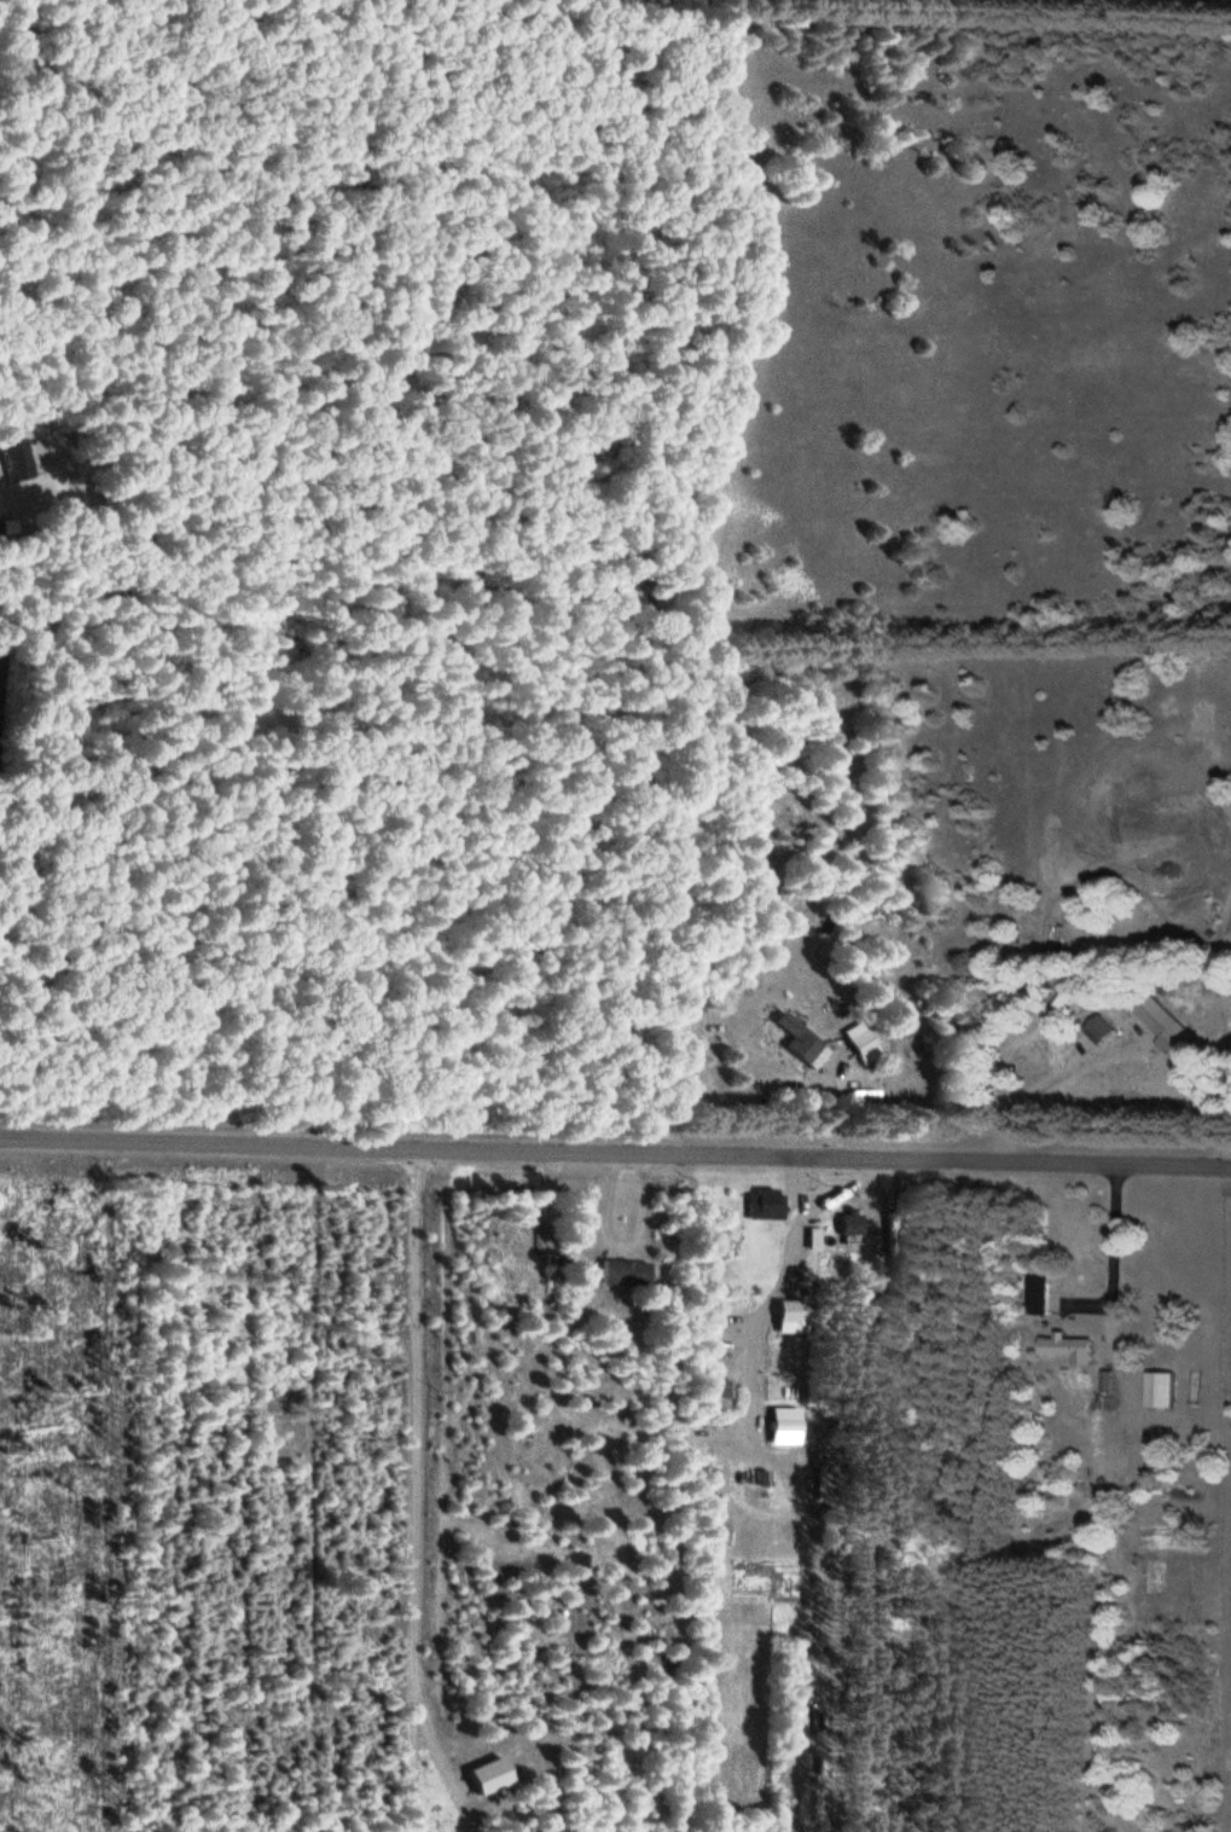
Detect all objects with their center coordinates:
building: (795, 1039)
building: (860, 1045)
road: (615, 1154)
building: (620, 1275)
building: (1035, 1294)
building: (788, 1318)
building: (1156, 1392)
building: (784, 1427)

